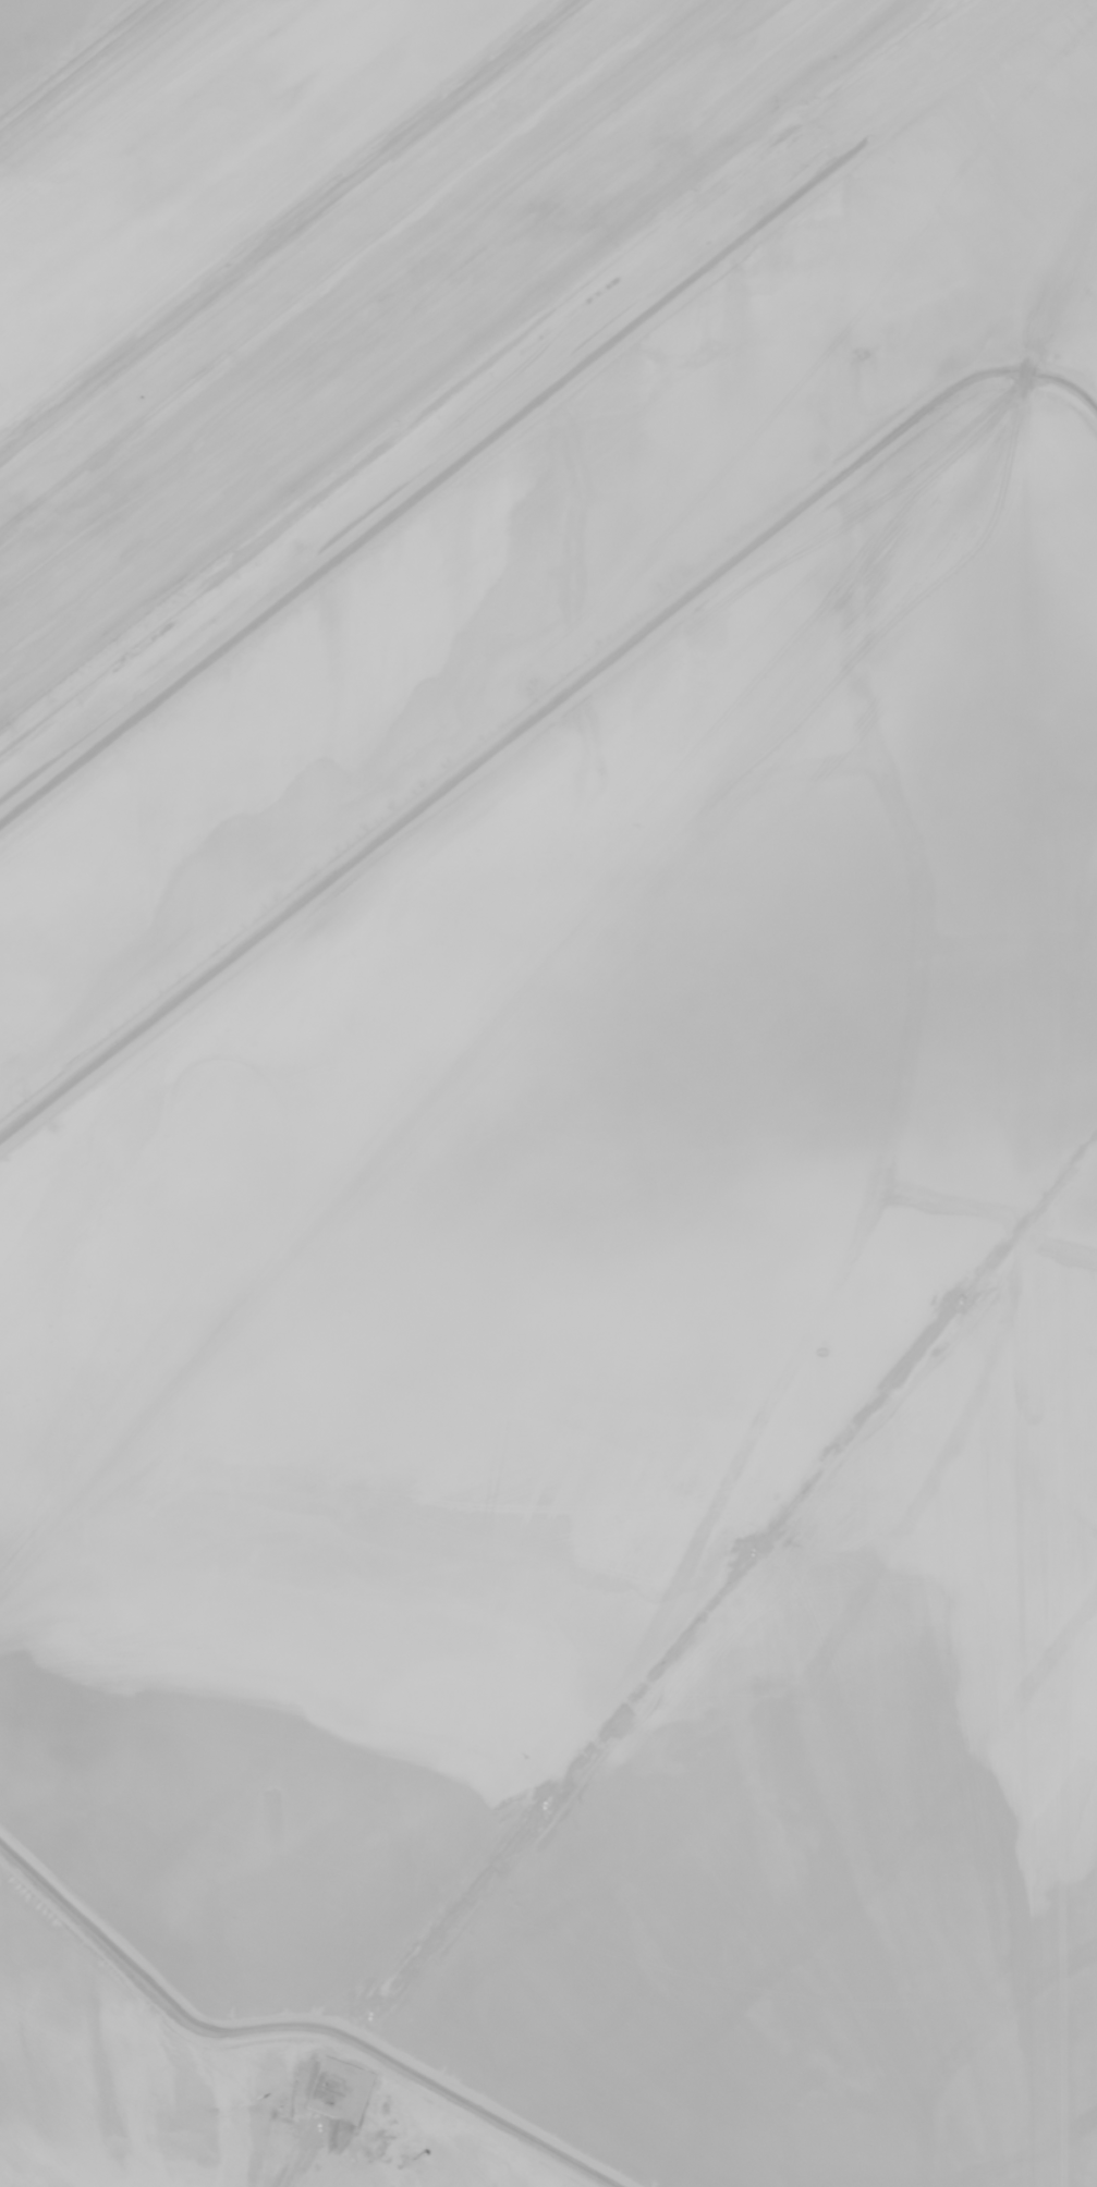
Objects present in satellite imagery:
airport runway: (405, 319)
airport: (548, 1093)

